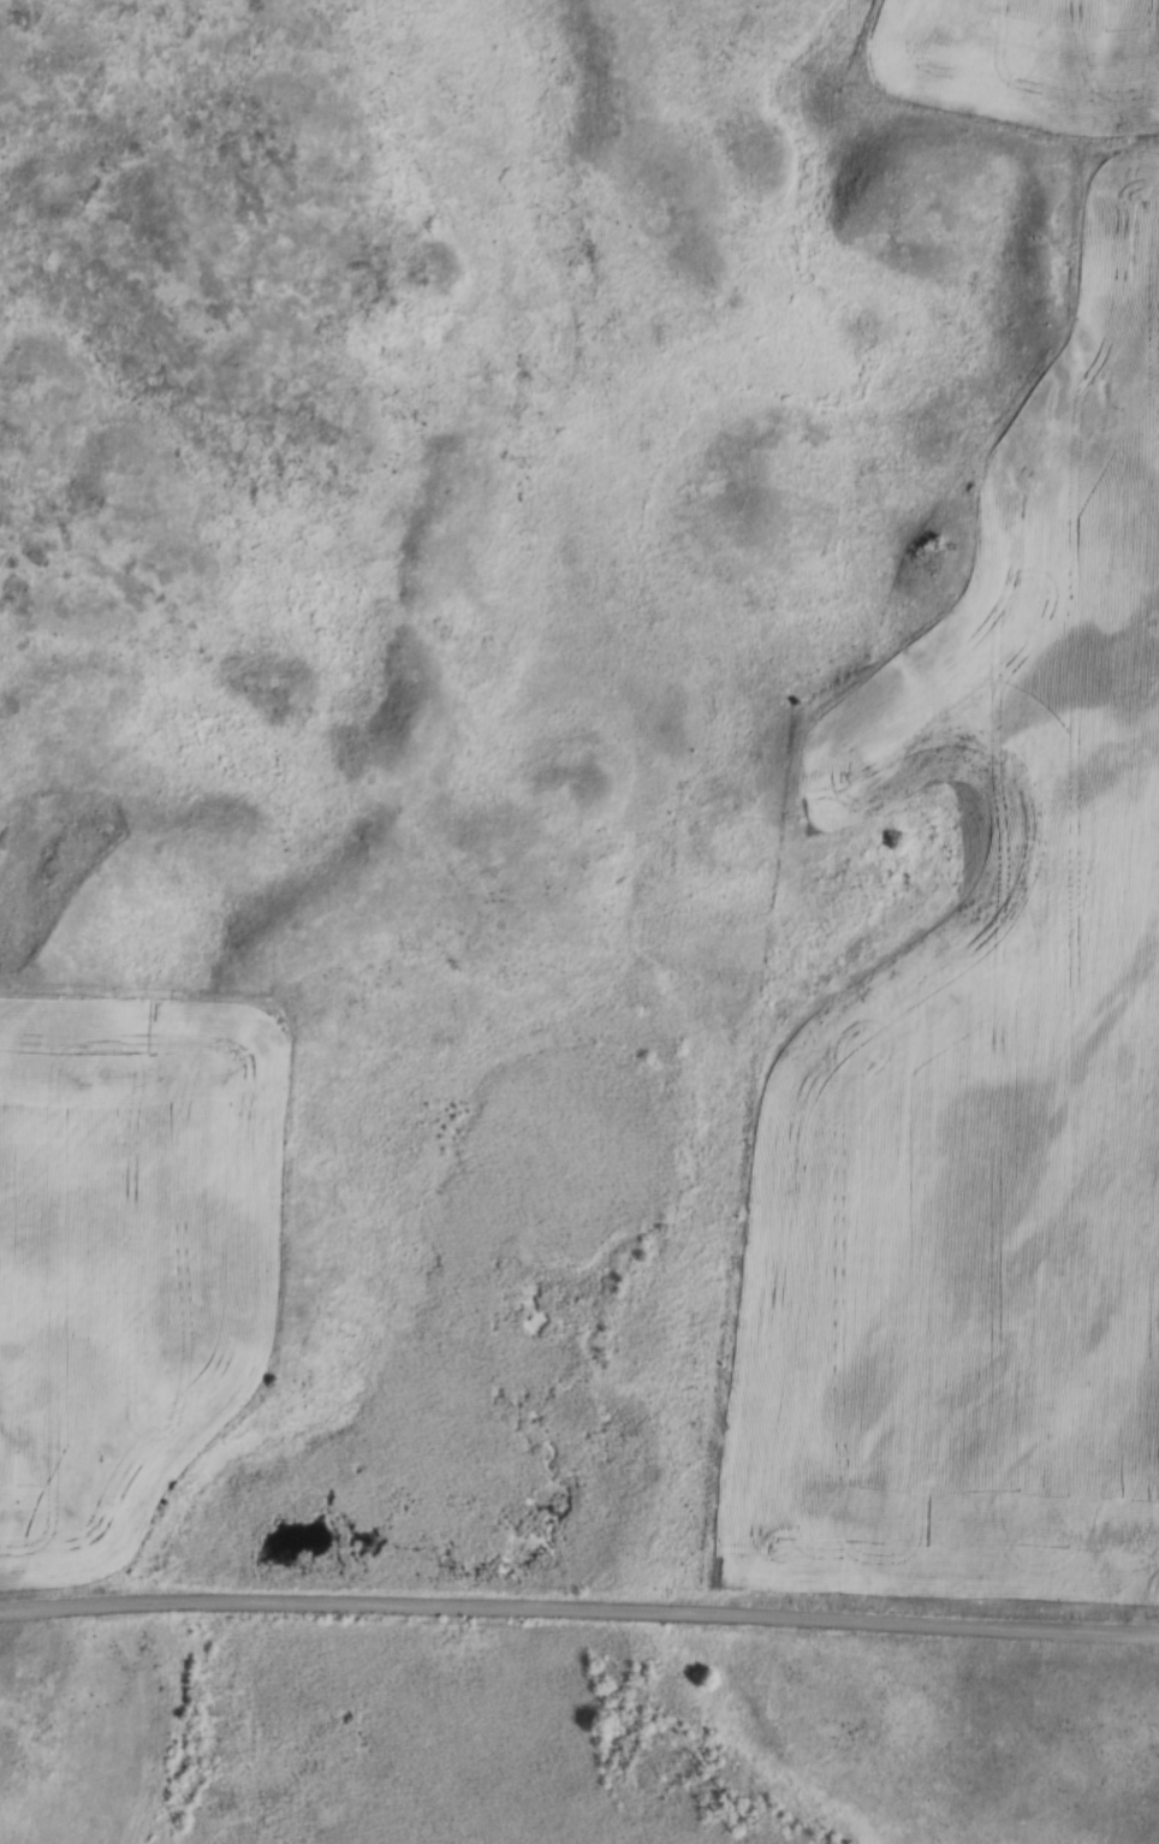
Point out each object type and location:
road: (578, 1613)

